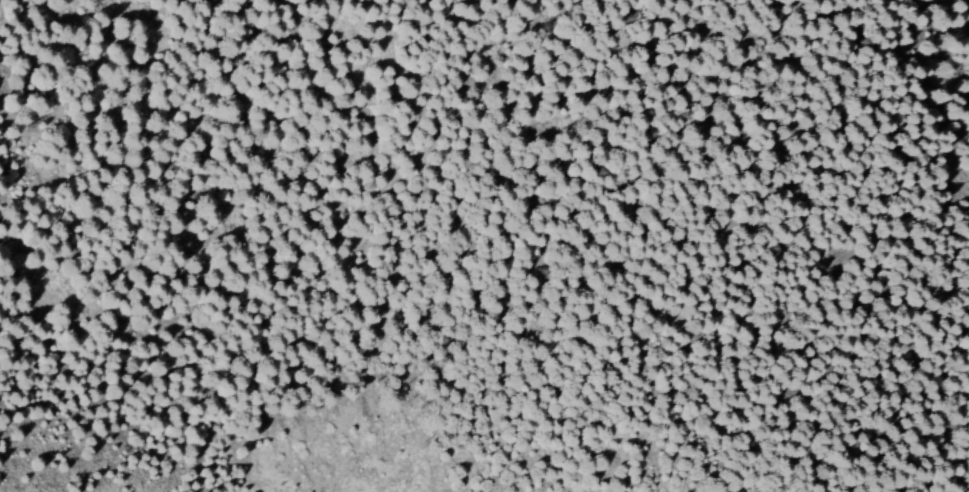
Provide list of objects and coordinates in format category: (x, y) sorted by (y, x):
road: (142, 343)

